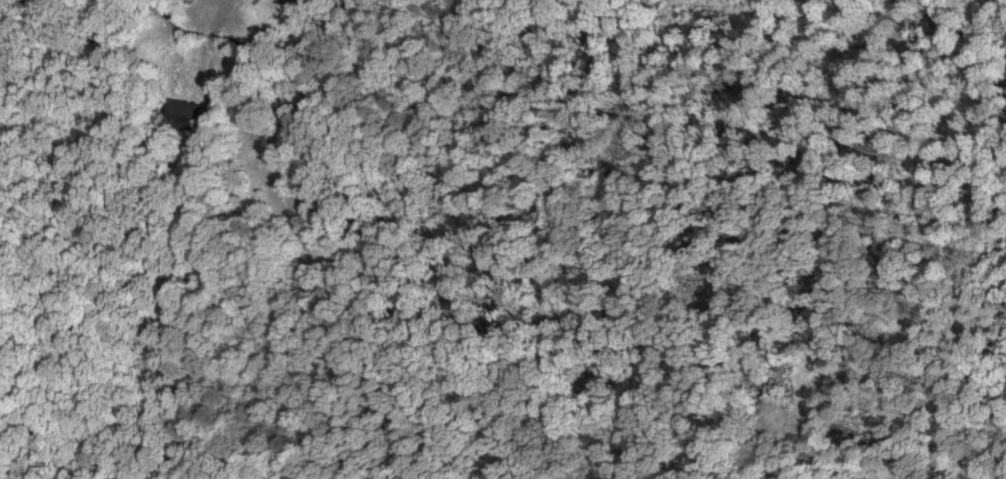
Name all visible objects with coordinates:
building: (180, 114)

